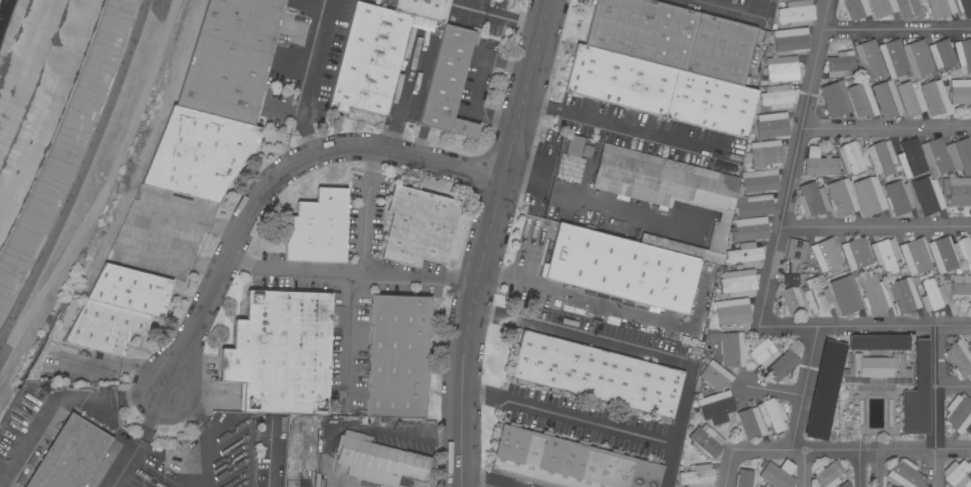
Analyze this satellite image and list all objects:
building: (882, 7)
building: (941, 7)
building: (964, 7)
building: (423, 8)
building: (856, 8)
building: (912, 8)
river: (2, 9)
road: (726, 9)
building: (796, 13)
road: (897, 26)
building: (672, 37)
building: (790, 39)
building: (963, 53)
building: (942, 54)
building: (231, 58)
building: (893, 58)
building: (918, 58)
building: (369, 59)
building: (869, 59)
building: (840, 65)
building: (781, 67)
road: (316, 80)
building: (448, 83)
road: (477, 84)
building: (660, 90)
building: (960, 92)
building: (778, 96)
building: (838, 97)
building: (935, 98)
building: (861, 99)
building: (911, 99)
building: (888, 101)
road: (626, 125)
building: (772, 125)
road: (886, 127)
building: (574, 146)
building: (766, 152)
building: (934, 153)
building: (198, 154)
building: (909, 155)
building: (960, 155)
building: (852, 156)
building: (881, 158)
road: (794, 163)
building: (819, 163)
road: (80, 173)
building: (576, 173)
road: (273, 178)
building: (661, 179)
building: (759, 180)
road: (553, 182)
building: (959, 191)
building: (869, 196)
building: (930, 196)
building: (841, 197)
building: (898, 197)
building: (812, 199)
building: (755, 206)
road: (365, 213)
road: (140, 223)
road: (876, 225)
building: (418, 226)
building: (317, 228)
building: (749, 229)
road: (490, 241)
building: (795, 249)
building: (856, 253)
building: (950, 253)
building: (745, 254)
building: (708, 255)
building: (827, 255)
building: (885, 255)
building: (915, 255)
building: (621, 268)
road: (347, 273)
road: (518, 275)
road: (416, 281)
building: (738, 282)
building: (959, 287)
building: (874, 294)
building: (903, 295)
building: (933, 295)
building: (817, 296)
building: (846, 297)
building: (790, 300)
building: (118, 308)
building: (734, 310)
road: (865, 326)
building: (871, 343)
building: (969, 346)
building: (733, 349)
road: (639, 351)
building: (762, 351)
building: (281, 352)
building: (397, 355)
building: (959, 359)
building: (784, 362)
building: (875, 370)
building: (596, 375)
building: (716, 375)
road: (804, 387)
road: (953, 387)
road: (772, 390)
road: (140, 395)
road: (935, 407)
building: (717, 408)
road: (183, 409)
building: (958, 413)
road: (45, 414)
building: (772, 414)
road: (567, 415)
road: (153, 417)
building: (751, 423)
building: (970, 430)
building: (970, 432)
road: (204, 439)
building: (706, 441)
road: (136, 447)
road: (852, 448)
building: (300, 450)
building: (69, 455)
road: (164, 455)
road: (275, 455)
building: (378, 460)
building: (568, 462)
road: (858, 467)
road: (879, 467)
road: (728, 468)
road: (806, 468)
building: (957, 473)
building: (777, 474)
building: (905, 474)
building: (827, 475)
building: (697, 476)
building: (743, 478)
road: (489, 479)
building: (766, 485)
building: (844, 485)
building: (757, 486)
building: (835, 486)

